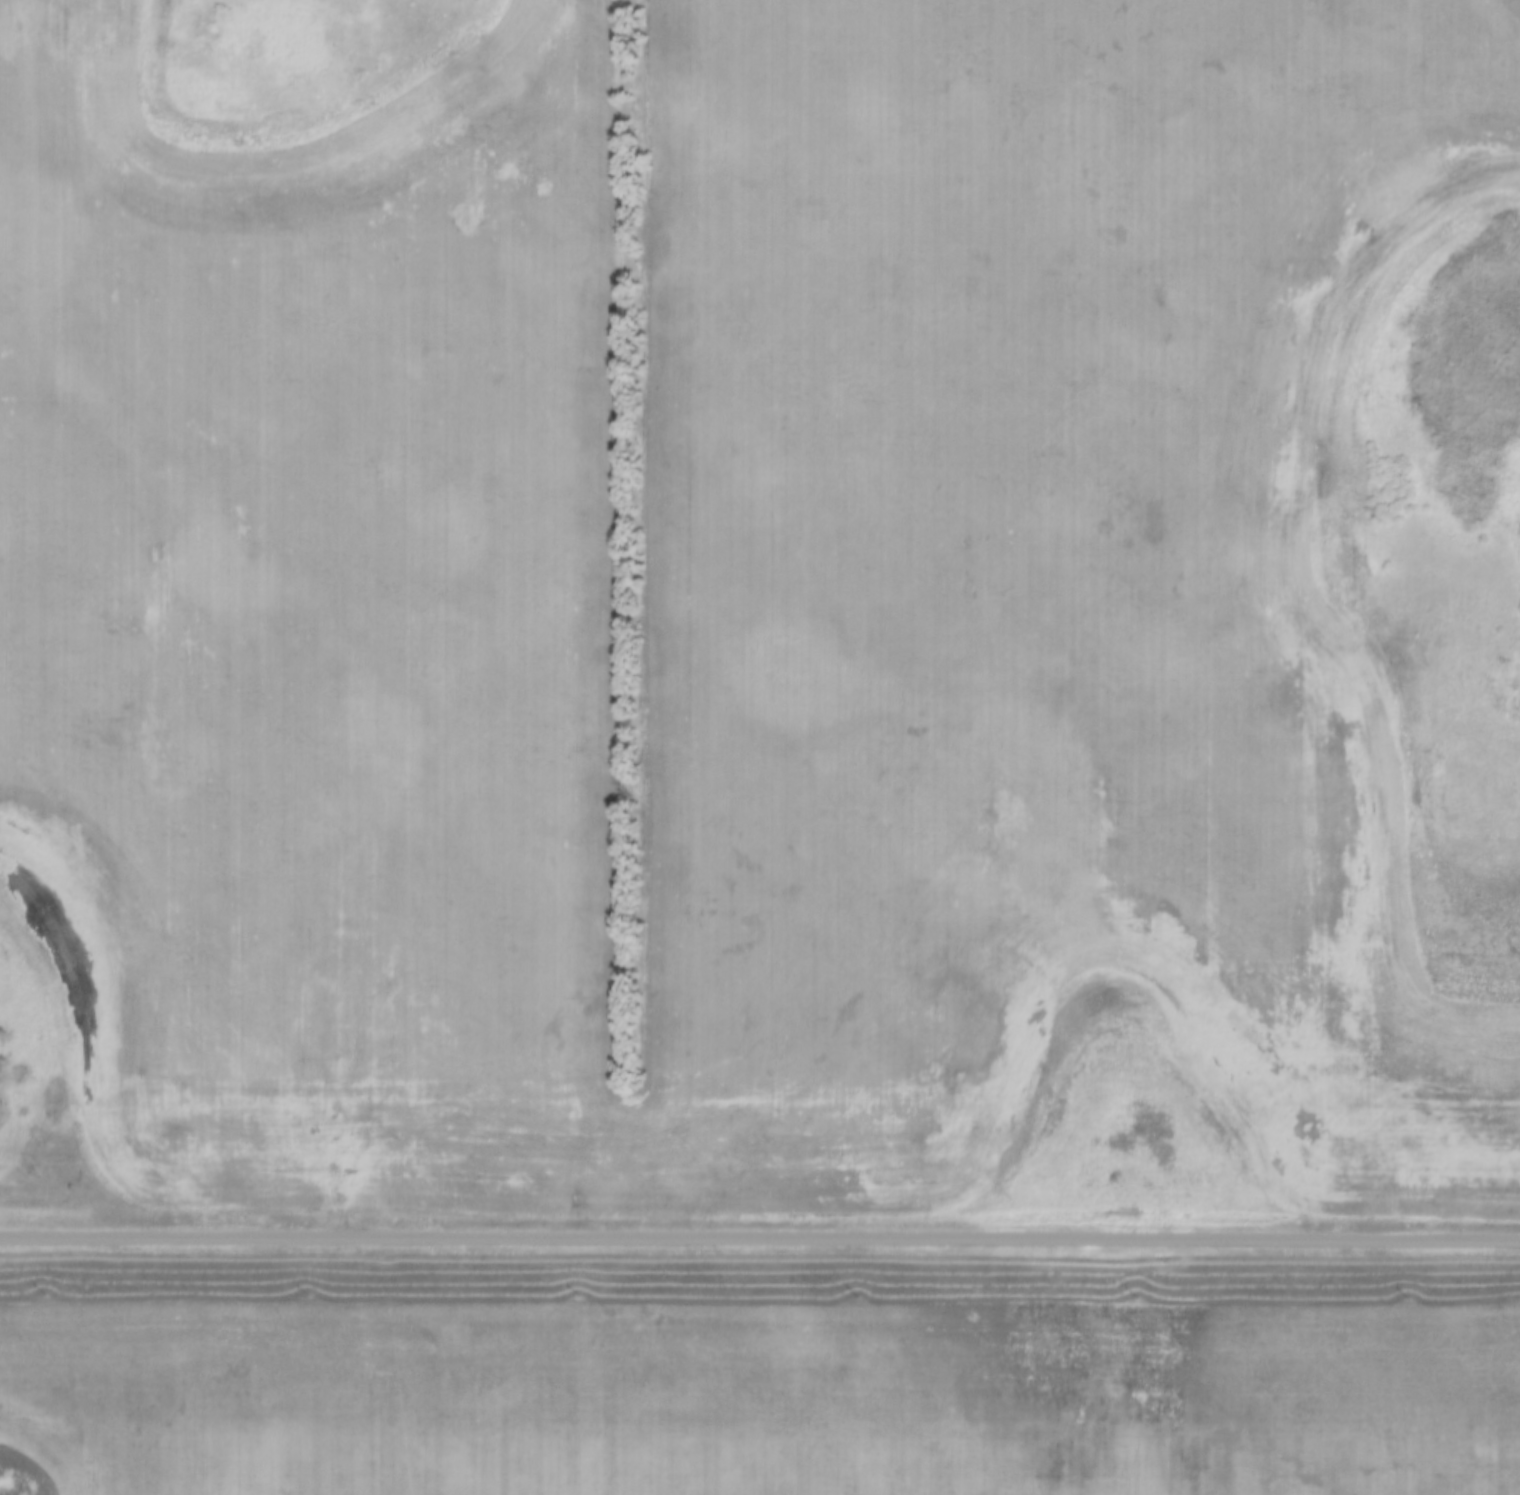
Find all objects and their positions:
road: (760, 1235)

